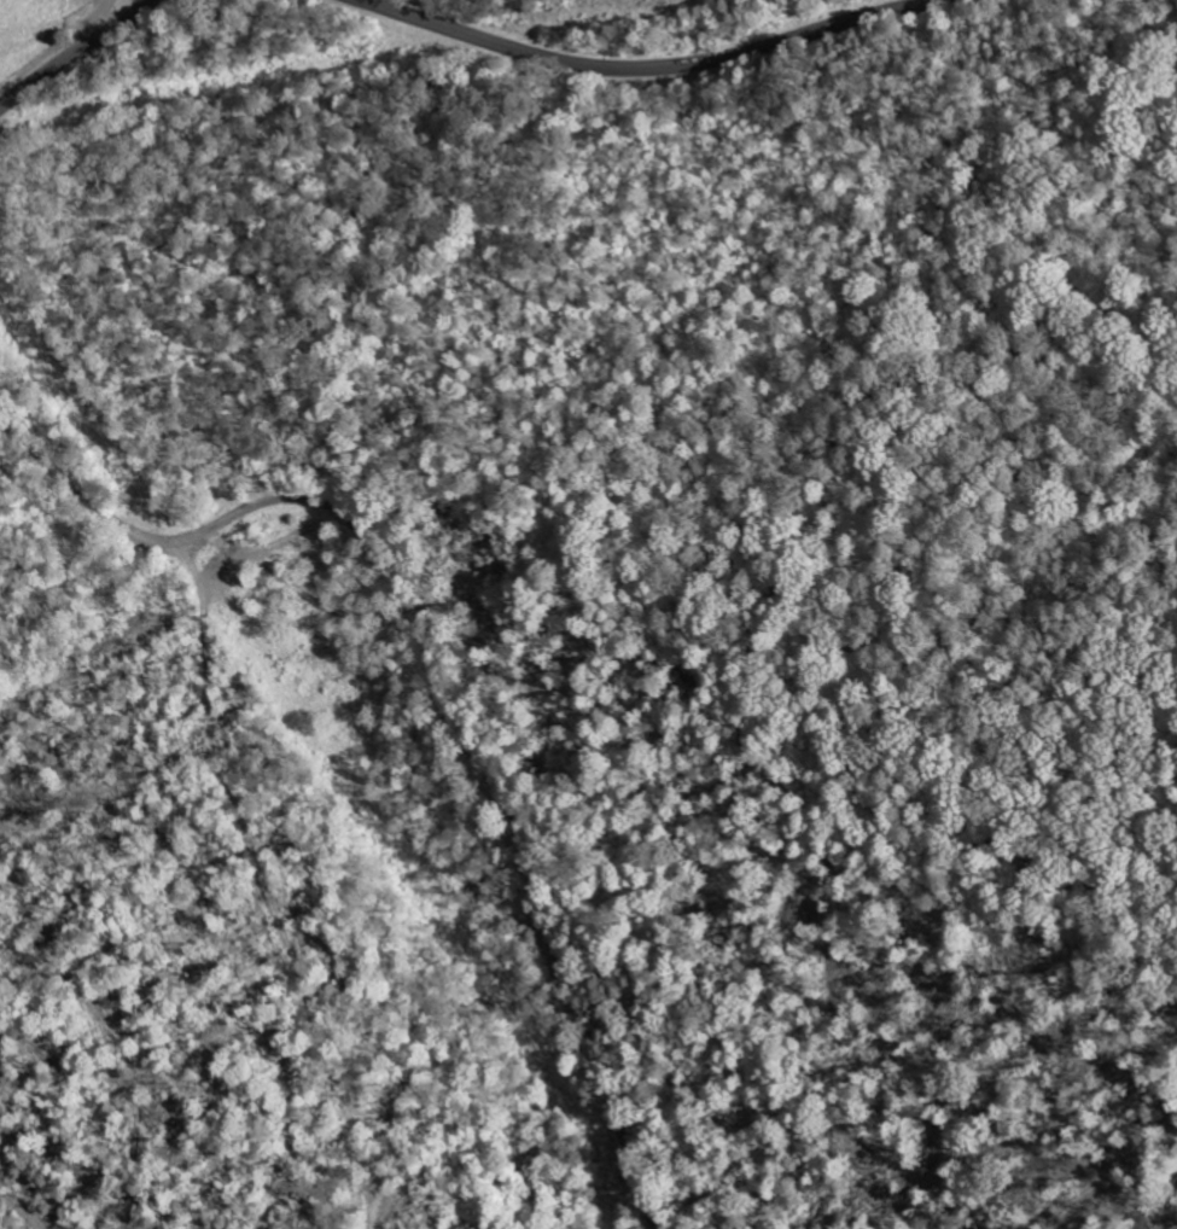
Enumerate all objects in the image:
road: (76, 52)
road: (646, 68)
road: (439, 681)

